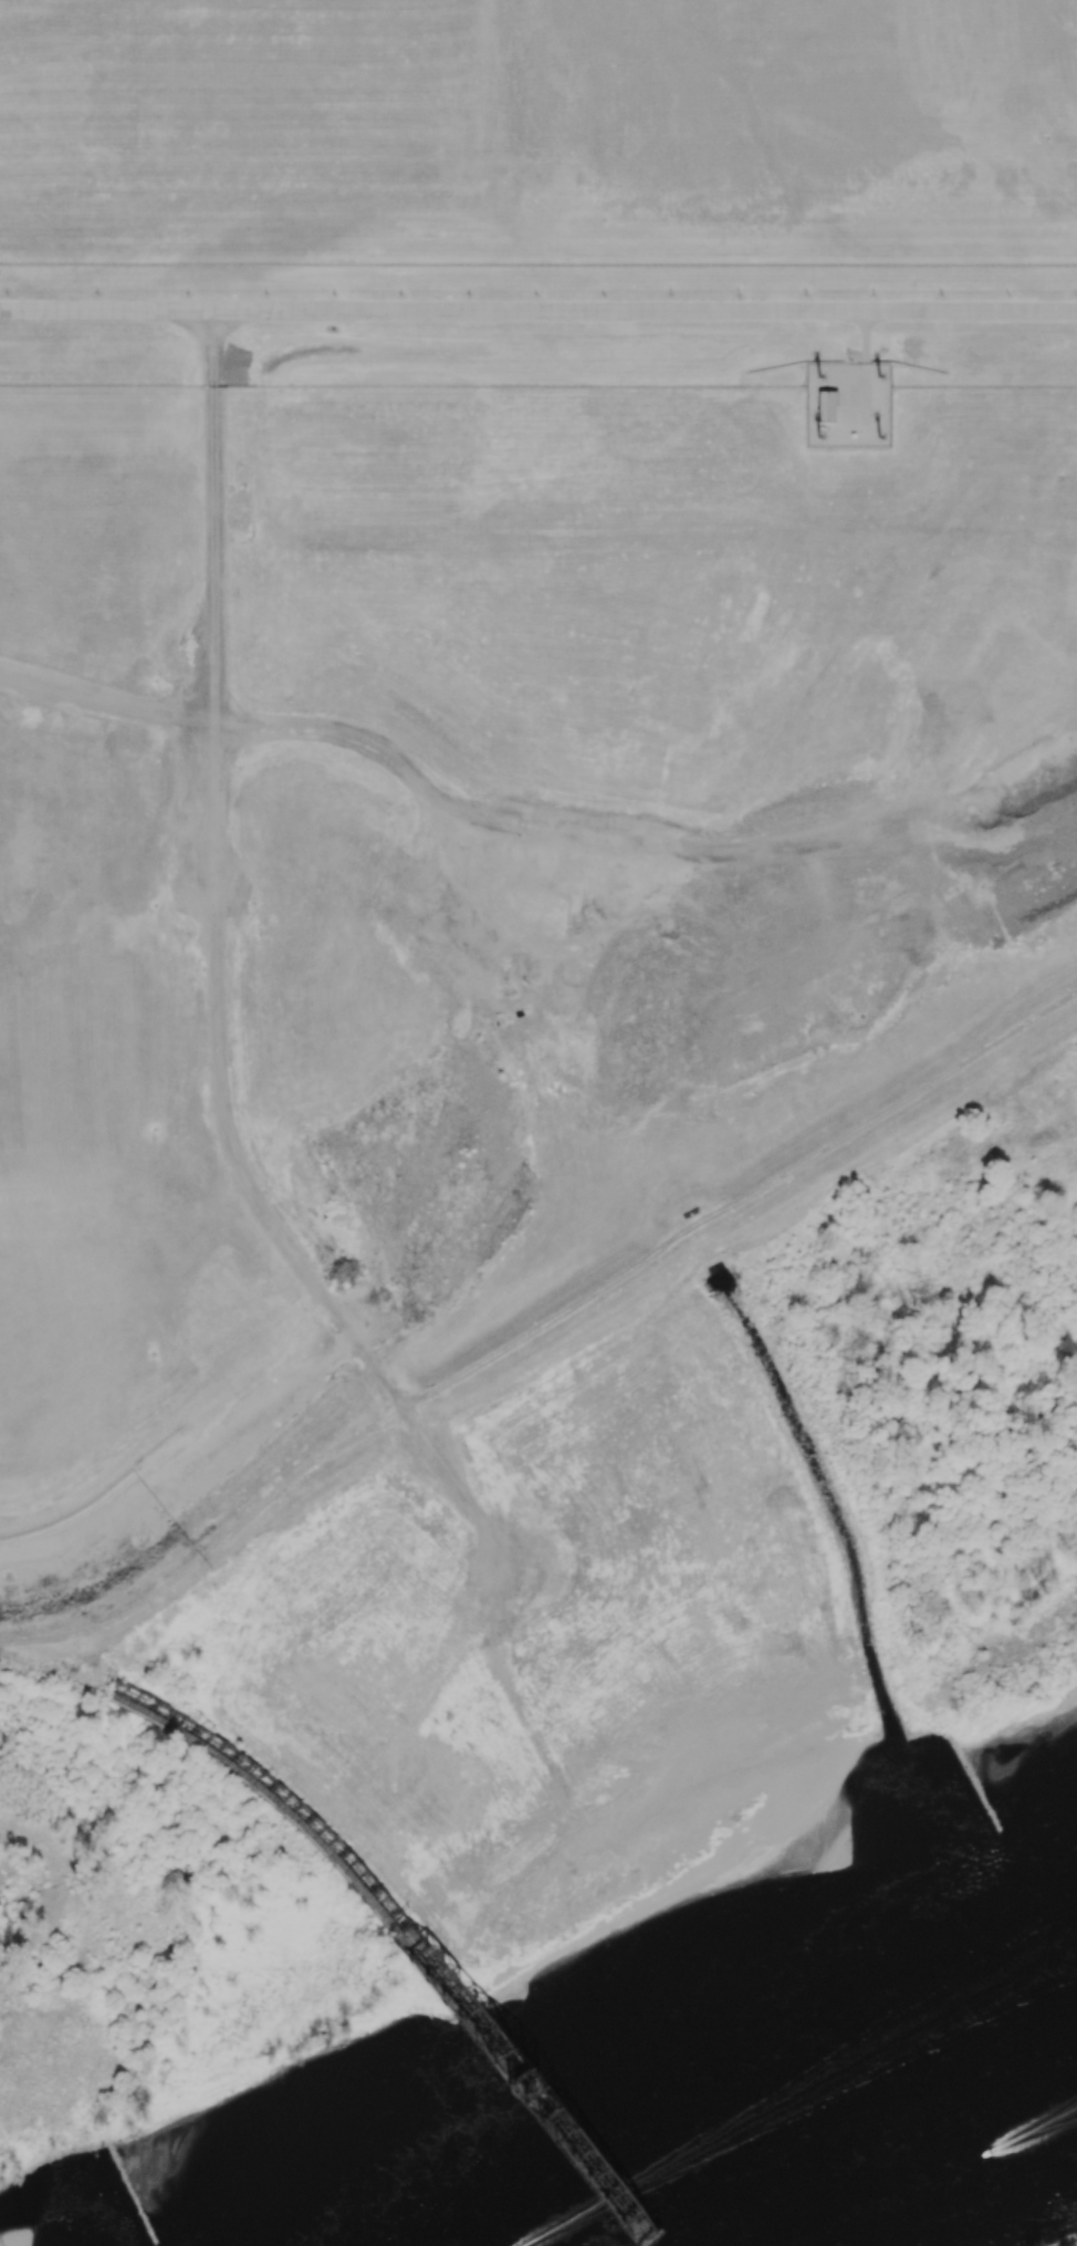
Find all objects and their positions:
airport: (537, 193)
road: (538, 311)
building: (825, 406)
railway: (54, 1672)
railway: (408, 1936)
railway: (399, 1937)
park: (116, 2023)
river: (796, 2113)
railway: (639, 2228)

